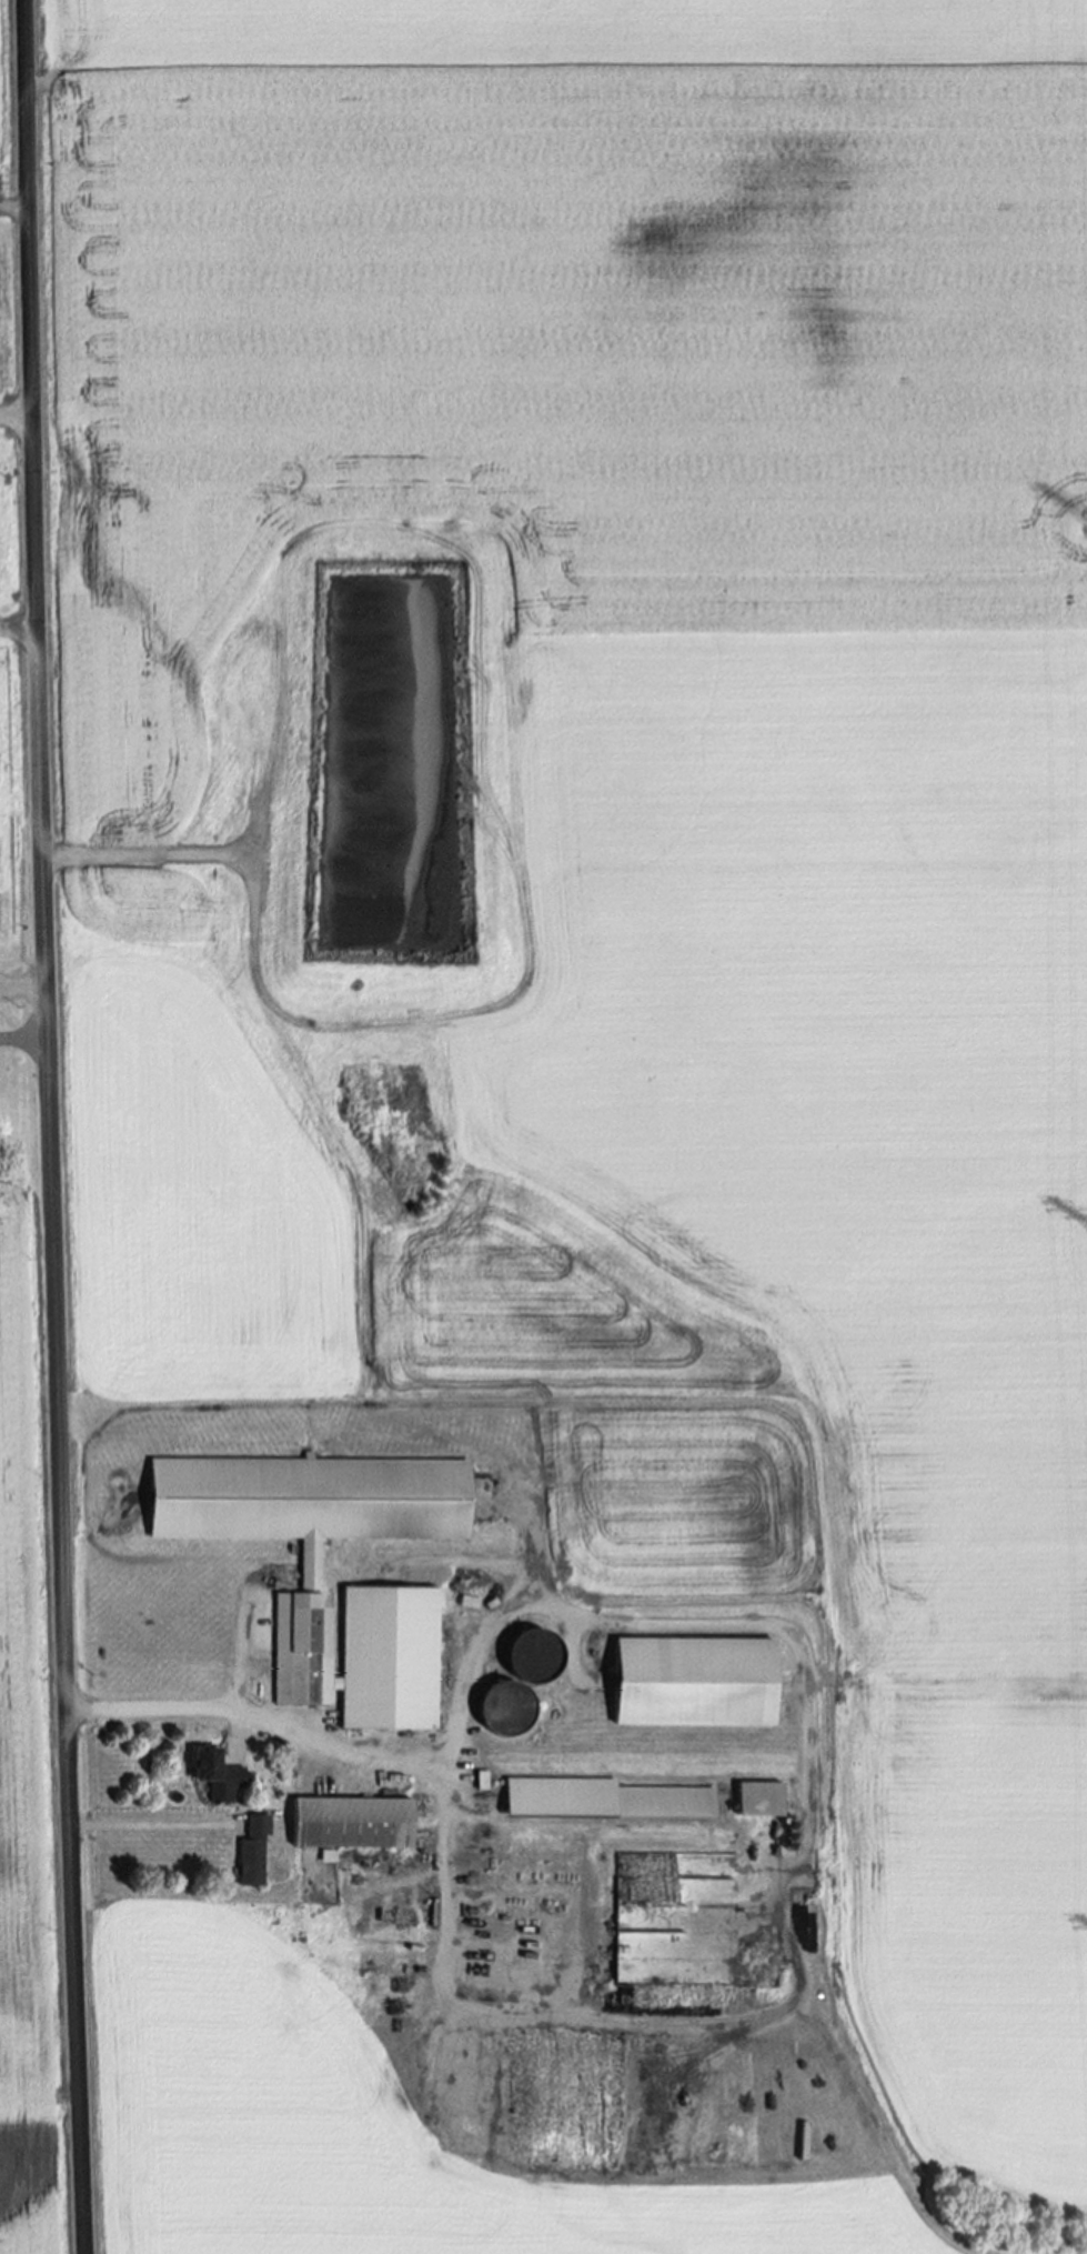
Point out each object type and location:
road: (16, 418)
road: (19, 633)
road: (22, 988)
road: (23, 1039)
road: (49, 1126)
building: (319, 1590)
road: (242, 1643)
building: (703, 1683)
road: (808, 1700)
building: (222, 1775)
building: (485, 1781)
building: (608, 1800)
building: (763, 1800)
building: (355, 1824)
road: (151, 1826)
building: (258, 1853)
road: (444, 1955)

